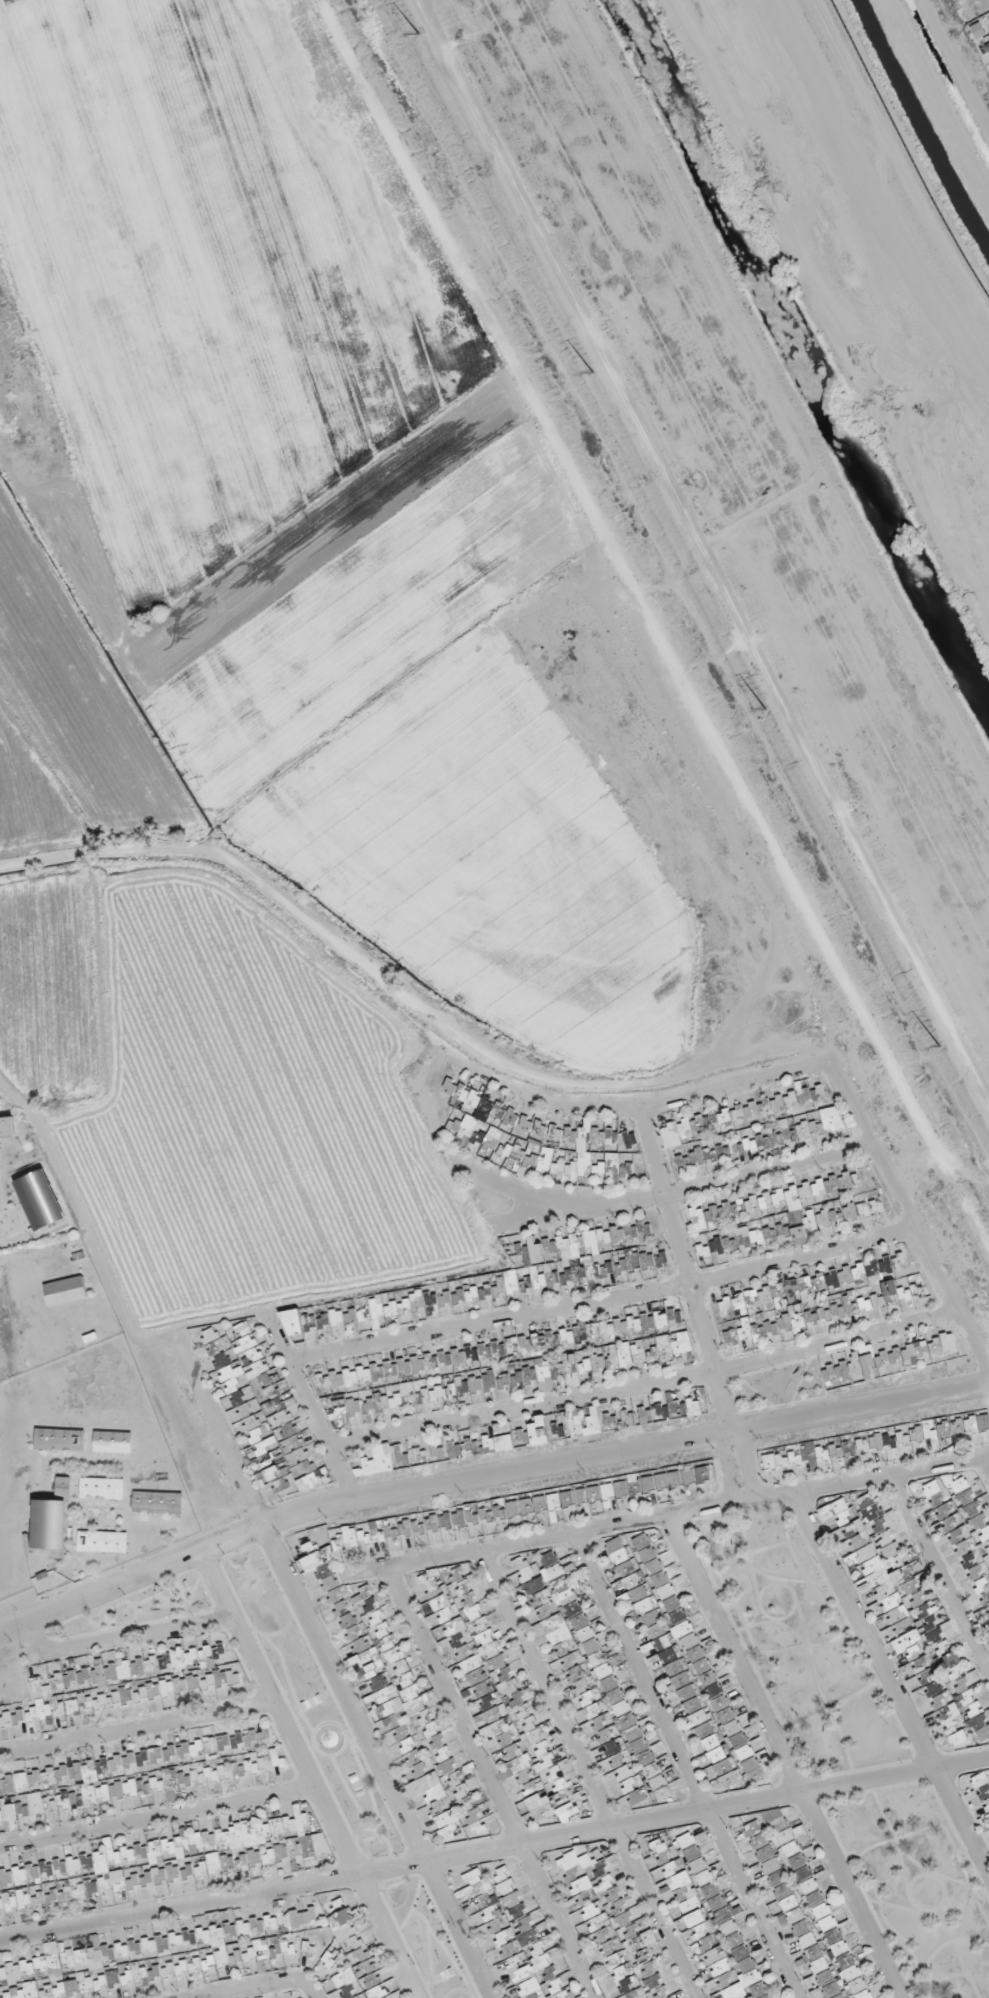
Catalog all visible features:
power tower: (411, 31)
river: (806, 355)
power tower: (585, 371)
road: (656, 625)
power tower: (757, 710)
power tower: (931, 1048)
road: (430, 1104)
road: (641, 1112)
building: (831, 1122)
road: (505, 1185)
road: (685, 1193)
road: (910, 1227)
building: (574, 1244)
building: (537, 1253)
road: (682, 1262)
building: (886, 1270)
building: (779, 1293)
road: (603, 1304)
building: (351, 1322)
building: (294, 1328)
building: (731, 1339)
building: (235, 1356)
building: (917, 1356)
building: (850, 1375)
road: (645, 1387)
building: (343, 1390)
road: (730, 1421)
road: (723, 1423)
road: (623, 1451)
building: (379, 1464)
road: (745, 1464)
road: (985, 1465)
road: (727, 1468)
building: (277, 1473)
road: (668, 1516)
building: (960, 1525)
building: (861, 1533)
building: (618, 1553)
building: (650, 1565)
building: (552, 1567)
road: (941, 1575)
building: (583, 1629)
road: (889, 1688)
road: (782, 1757)
road: (685, 1765)
road: (494, 1850)
building: (569, 1864)
building: (561, 1989)

